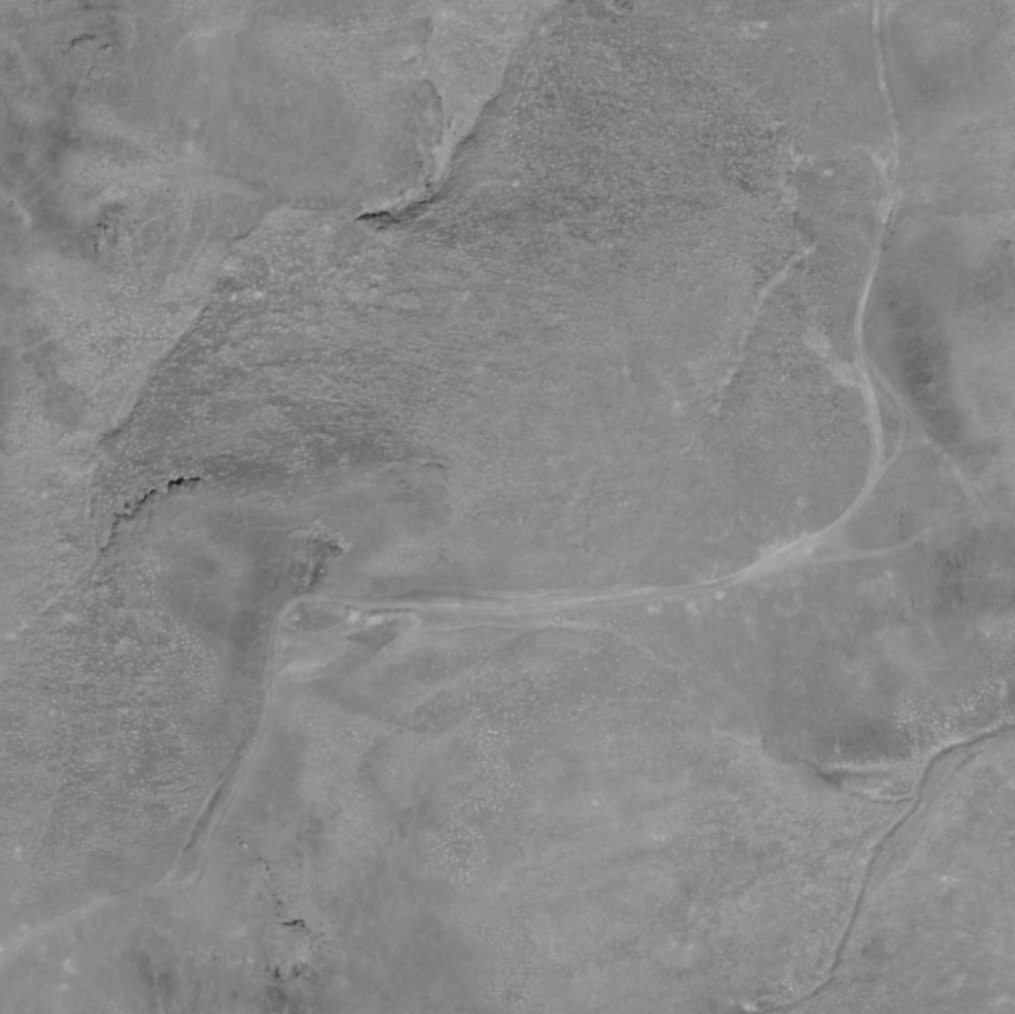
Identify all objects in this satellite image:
road: (918, 532)
road: (601, 597)

